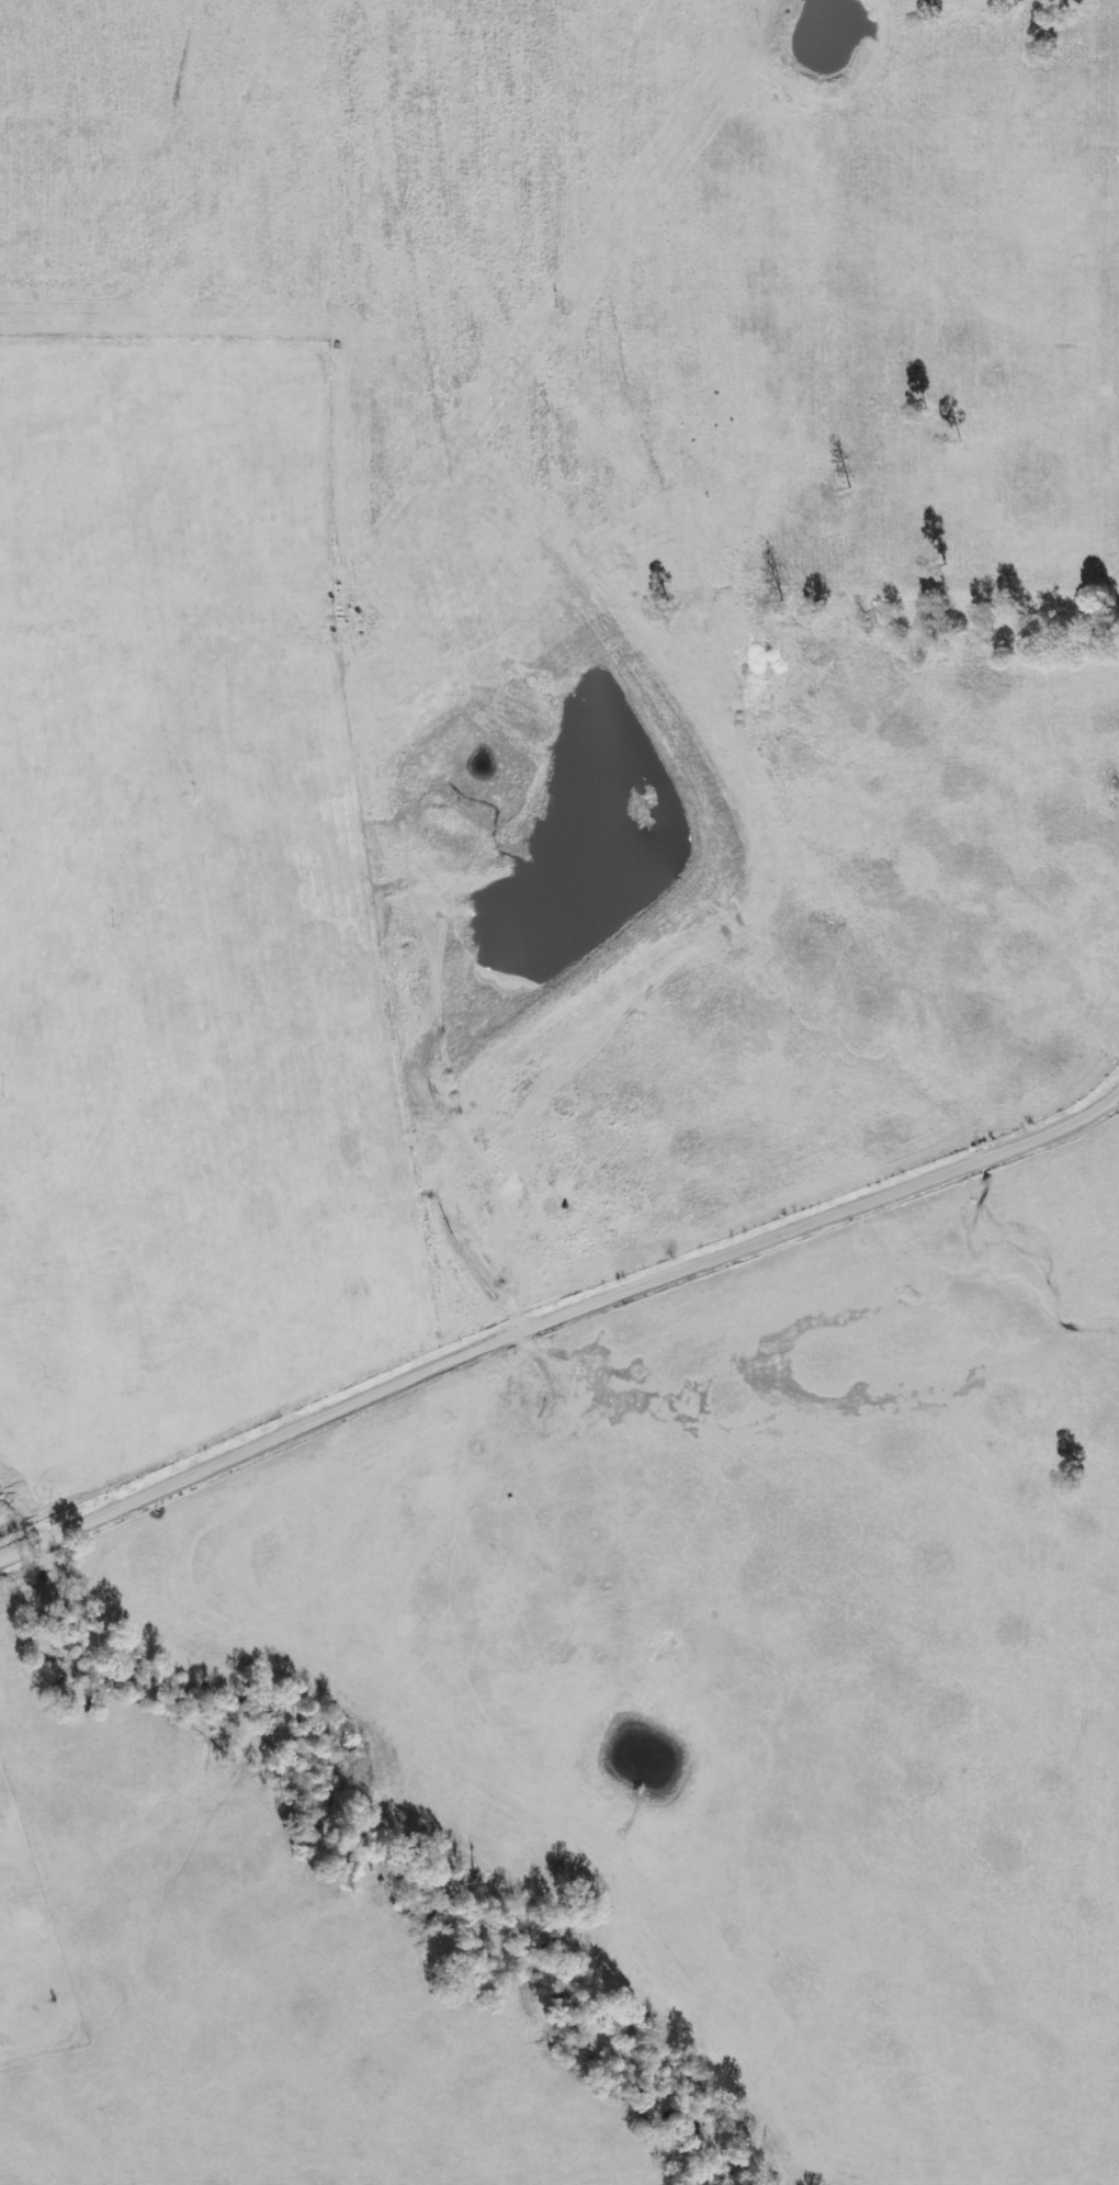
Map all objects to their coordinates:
road: (1080, 1061)
road: (1080, 1119)
road: (515, 1337)

